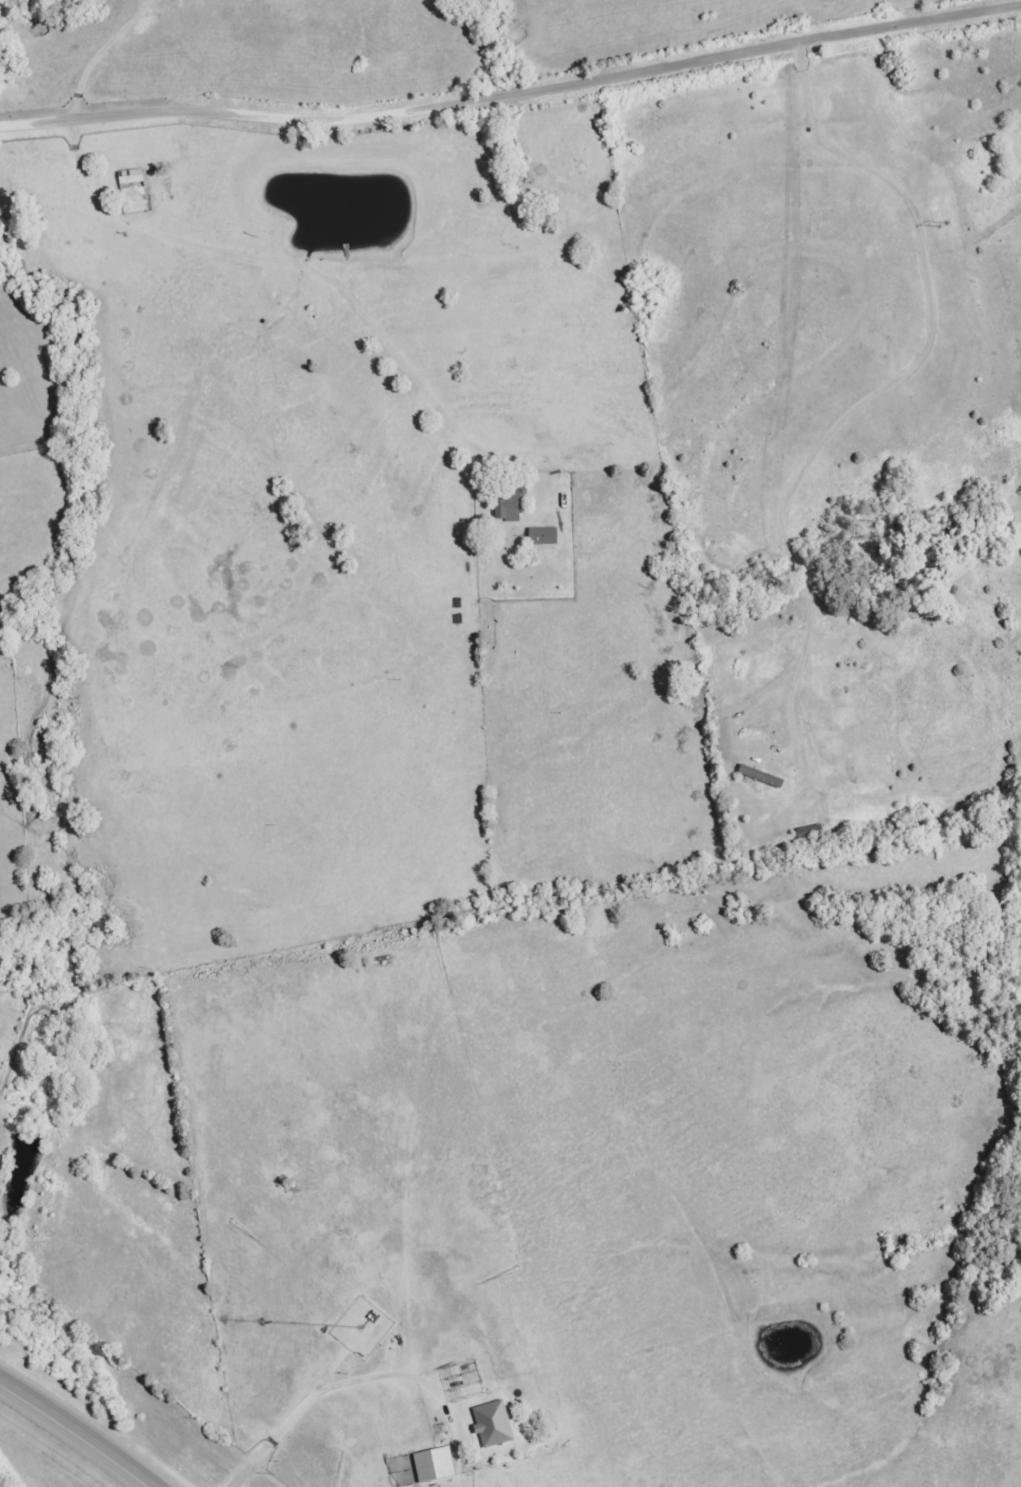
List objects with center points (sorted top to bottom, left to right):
road: (97, 53)
road: (512, 94)
building: (132, 179)
power tower: (941, 224)
road: (282, 258)
road: (892, 384)
building: (512, 513)
building: (544, 539)
building: (762, 777)
road: (295, 1409)
building: (494, 1424)
road: (74, 1430)
building: (435, 1466)
road: (137, 1484)

